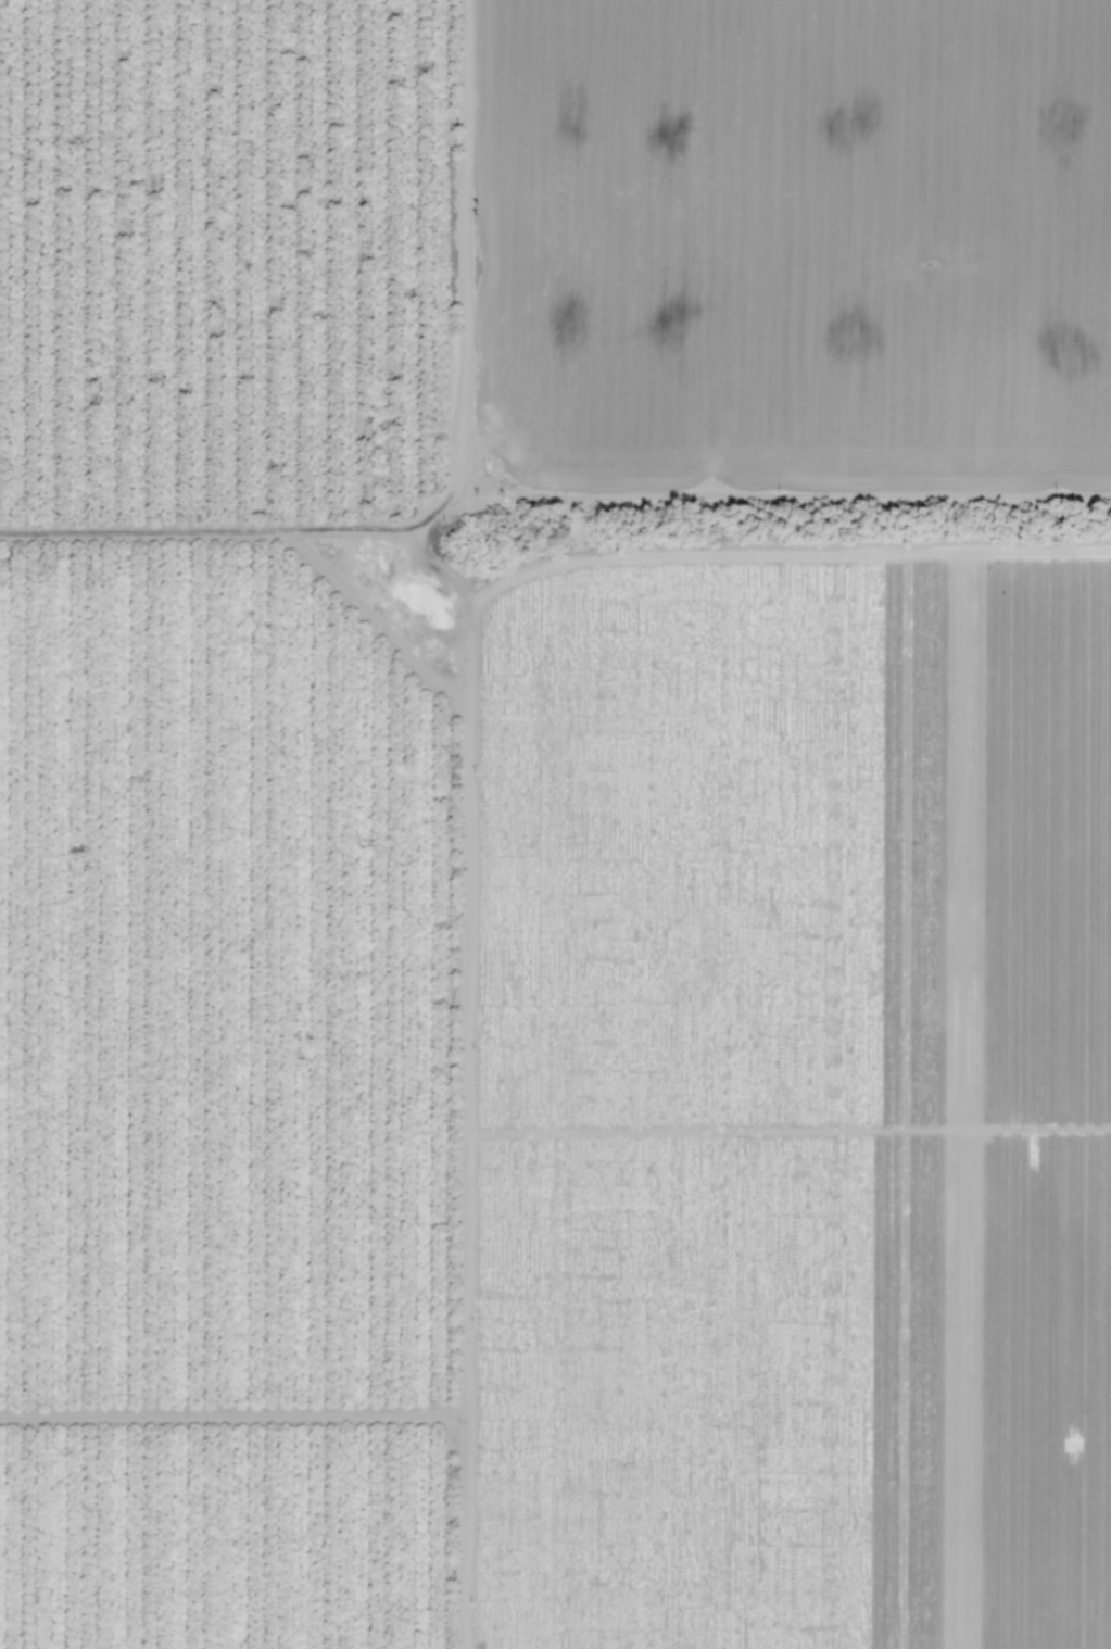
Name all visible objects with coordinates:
road: (555, 521)
road: (451, 823)
crop: (785, 1081)
crop: (230, 1082)

